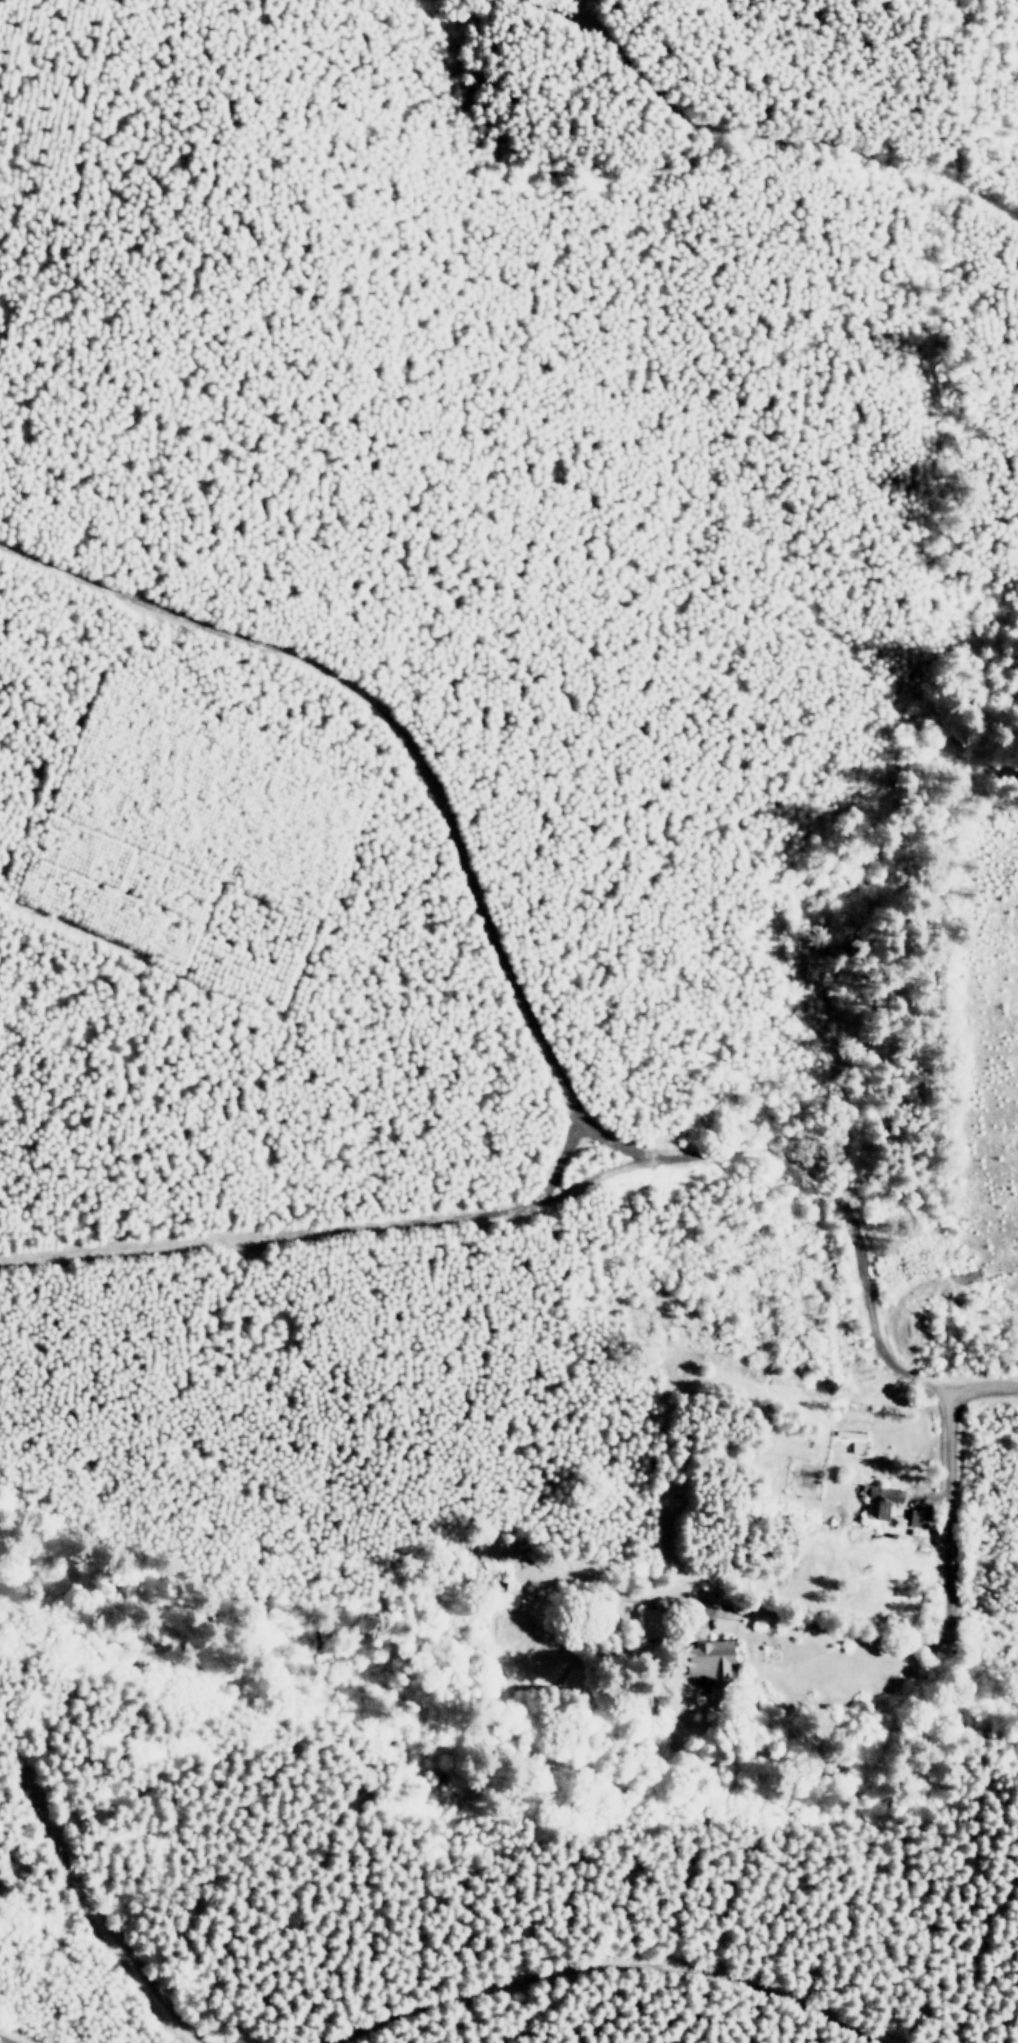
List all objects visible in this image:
road: (869, 1323)
road: (986, 1386)
building: (881, 1500)
building: (917, 1518)
building: (650, 1623)
building: (709, 1661)
road: (13, 2038)

